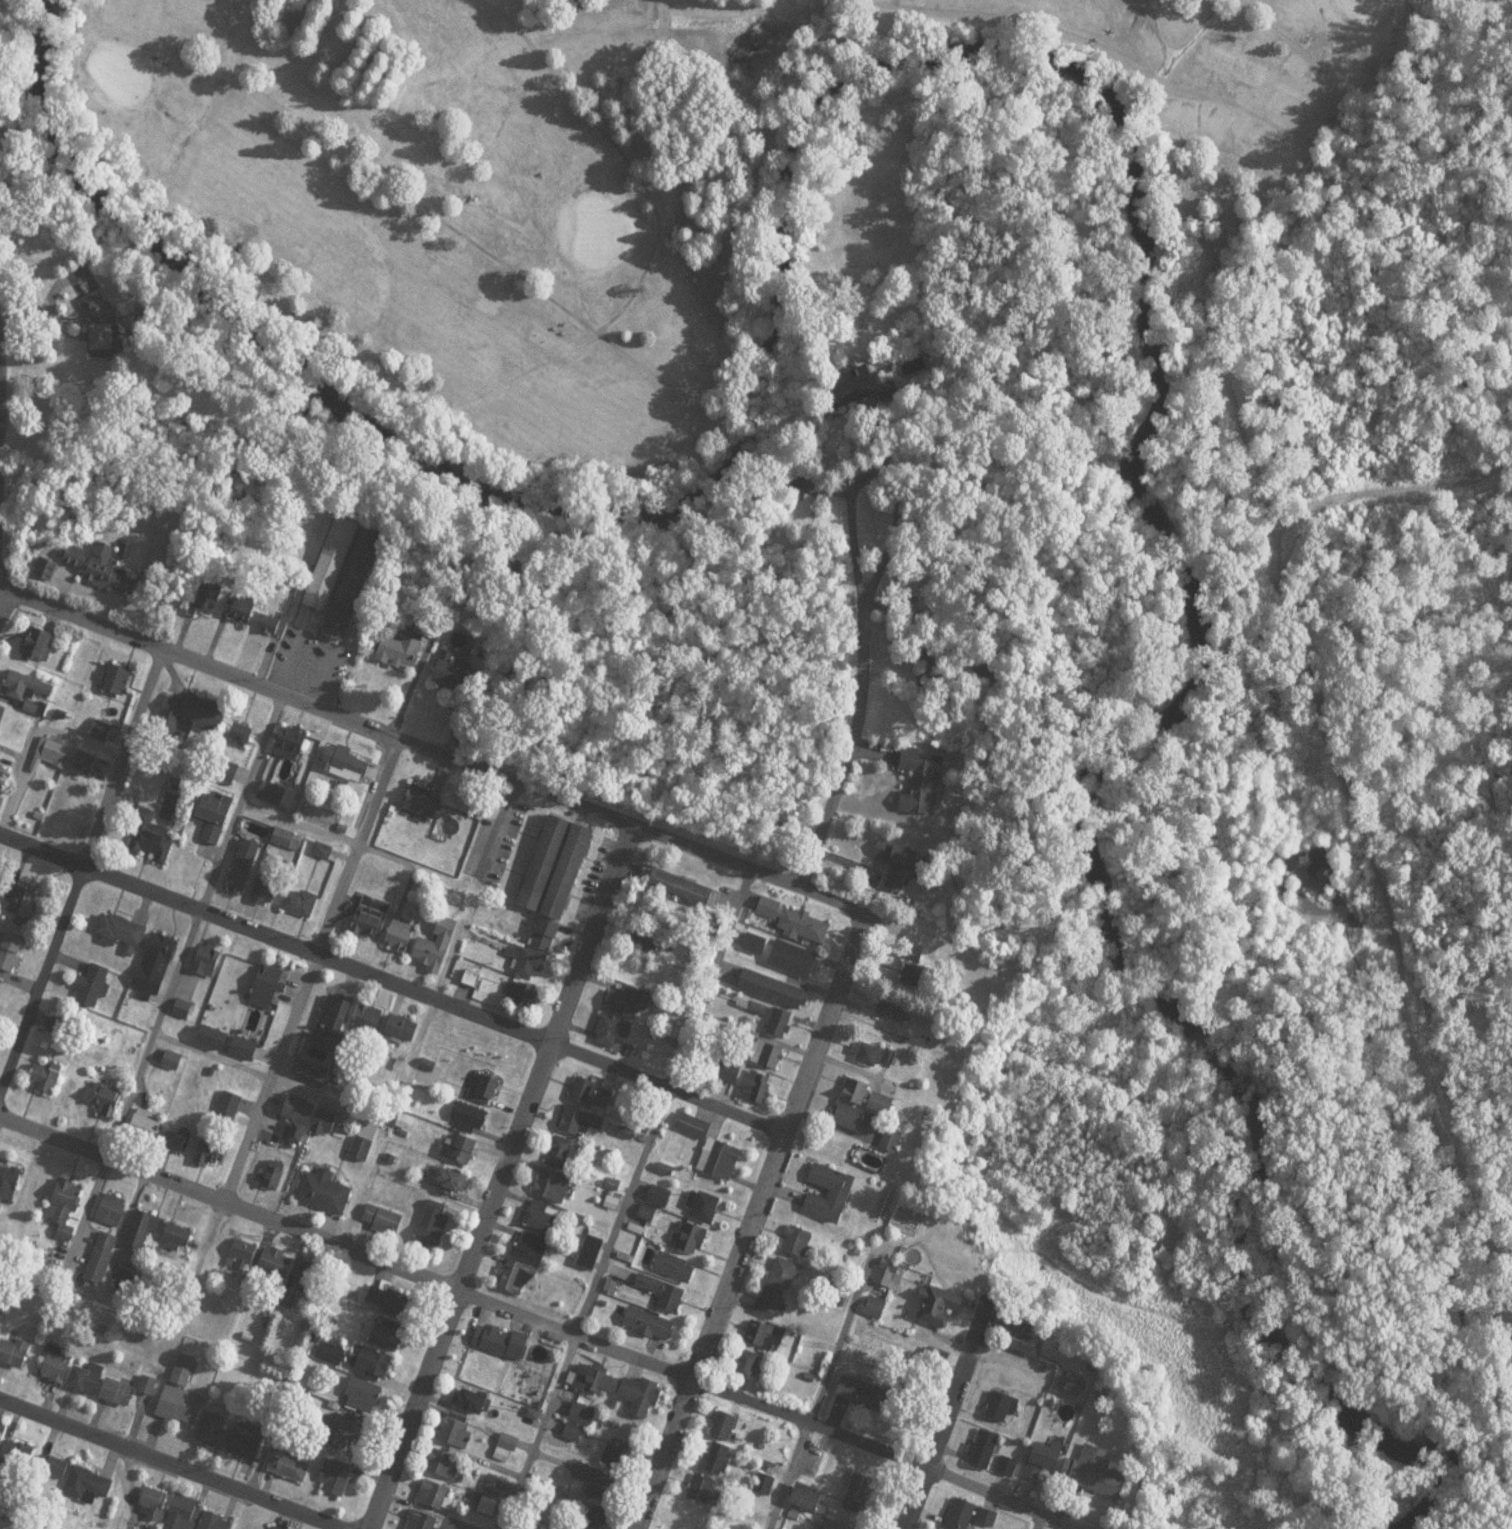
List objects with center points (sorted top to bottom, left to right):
road: (1171, 89)
park: (584, 167)
road: (378, 175)
road: (648, 196)
building: (105, 338)
building: (862, 390)
road: (710, 397)
building: (328, 562)
building: (43, 569)
building: (100, 569)
building: (237, 581)
building: (352, 583)
building: (205, 597)
building: (241, 611)
building: (270, 625)
road: (883, 634)
building: (37, 644)
building: (400, 651)
building: (449, 676)
building: (116, 680)
building: (25, 687)
building: (31, 708)
building: (1, 711)
building: (196, 714)
building: (100, 731)
building: (240, 736)
road: (31, 738)
building: (288, 748)
building: (52, 753)
road: (458, 757)
building: (83, 762)
building: (345, 764)
road: (843, 780)
building: (920, 782)
building: (270, 795)
road: (241, 800)
building: (423, 803)
building: (209, 819)
road: (300, 821)
building: (285, 840)
building: (152, 845)
building: (895, 865)
road: (80, 866)
building: (242, 867)
building: (556, 868)
building: (679, 887)
building: (262, 892)
building: (299, 902)
building: (20, 910)
building: (370, 918)
building: (801, 926)
building: (121, 936)
building: (398, 936)
building: (643, 941)
building: (434, 947)
building: (10, 954)
building: (205, 960)
building: (791, 960)
building: (528, 964)
building: (154, 965)
road: (310, 971)
building: (469, 979)
road: (391, 985)
building: (91, 986)
building: (264, 989)
building: (770, 990)
building: (519, 994)
building: (625, 1003)
building: (889, 1008)
building: (179, 1014)
building: (771, 1020)
building: (366, 1022)
building: (330, 1023)
building: (54, 1026)
building: (395, 1026)
building: (610, 1031)
building: (225, 1044)
building: (765, 1054)
building: (867, 1054)
building: (170, 1062)
road: (263, 1076)
building: (311, 1076)
building: (44, 1080)
road: (131, 1086)
building: (488, 1087)
building: (755, 1088)
building: (591, 1095)
building: (864, 1096)
building: (105, 1102)
building: (226, 1108)
building: (467, 1117)
building: (851, 1118)
building: (306, 1119)
building: (577, 1121)
building: (145, 1126)
building: (691, 1127)
building: (891, 1140)
building: (362, 1150)
building: (462, 1150)
building: (206, 1153)
building: (557, 1153)
building: (719, 1160)
road: (498, 1174)
building: (271, 1176)
building: (8, 1183)
building: (450, 1183)
building: (551, 1186)
building: (321, 1192)
road: (624, 1194)
building: (837, 1194)
building: (701, 1207)
building: (64, 1209)
building: (110, 1212)
building: (540, 1219)
building: (381, 1220)
road: (750, 1220)
building: (434, 1227)
building: (141, 1230)
building: (686, 1237)
building: (174, 1240)
building: (796, 1242)
building: (590, 1249)
building: (97, 1254)
building: (239, 1256)
building: (273, 1263)
building: (522, 1264)
building: (673, 1268)
building: (782, 1274)
building: (885, 1274)
building: (301, 1283)
building: (661, 1294)
building: (388, 1302)
building: (771, 1304)
building: (872, 1308)
building: (938, 1308)
road: (533, 1313)
building: (647, 1325)
building: (385, 1335)
building: (764, 1336)
building: (1024, 1337)
building: (500, 1342)
building: (12, 1353)
building: (931, 1363)
building: (373, 1364)
building: (55, 1365)
building: (747, 1365)
building: (182, 1371)
building: (480, 1371)
building: (85, 1379)
building: (592, 1381)
building: (145, 1385)
building: (115, 1393)
road: (819, 1393)
building: (864, 1394)
building: (360, 1397)
building: (639, 1398)
building: (470, 1401)
building: (179, 1407)
building: (1000, 1407)
road: (956, 1415)
building: (723, 1427)
building: (454, 1431)
building: (211, 1432)
building: (342, 1432)
building: (246, 1441)
building: (981, 1450)
building: (12, 1455)
building: (611, 1457)
building: (714, 1460)
building: (1040, 1460)
building: (443, 1465)
building: (288, 1467)
building: (1006, 1467)
road: (175, 1468)
building: (50, 1469)
building: (1094, 1473)
building: (335, 1477)
building: (594, 1483)
building: (85, 1484)
building: (493, 1486)
building: (700, 1489)
building: (856, 1494)
building: (431, 1495)
building: (806, 1498)
building: (150, 1504)
building: (486, 1507)
road: (431, 1509)
road: (239, 1510)
building: (180, 1513)
building: (958, 1514)
building: (592, 1518)
building: (985, 1518)
road: (1033, 1519)
building: (421, 1521)
building: (212, 1522)
building: (825, 1526)
building: (272, 1528)

